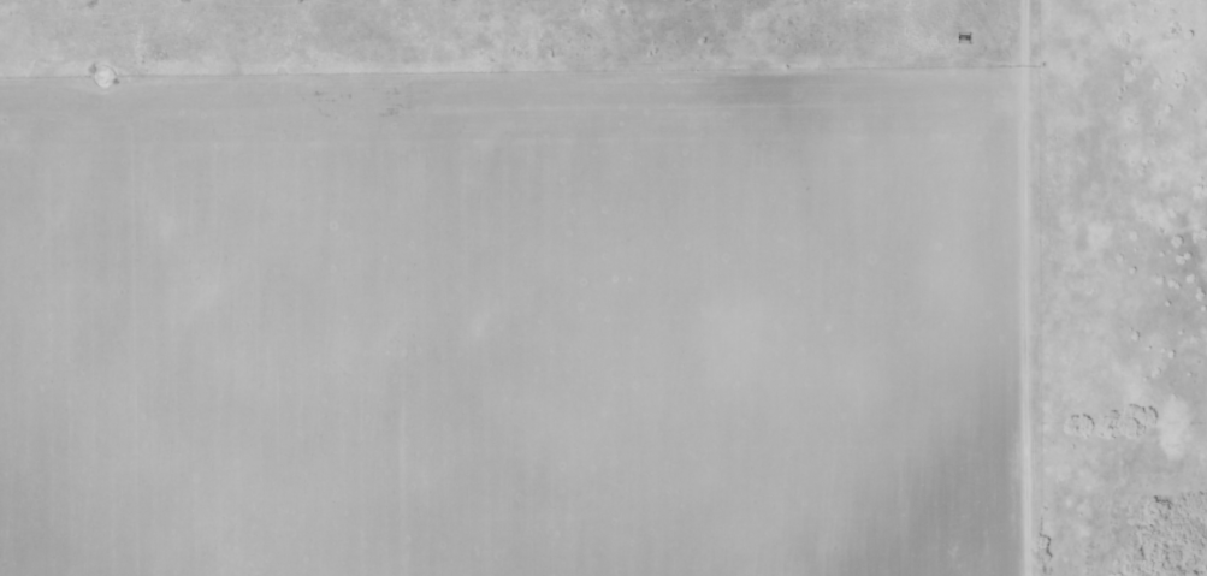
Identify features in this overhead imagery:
road: (1022, 287)

